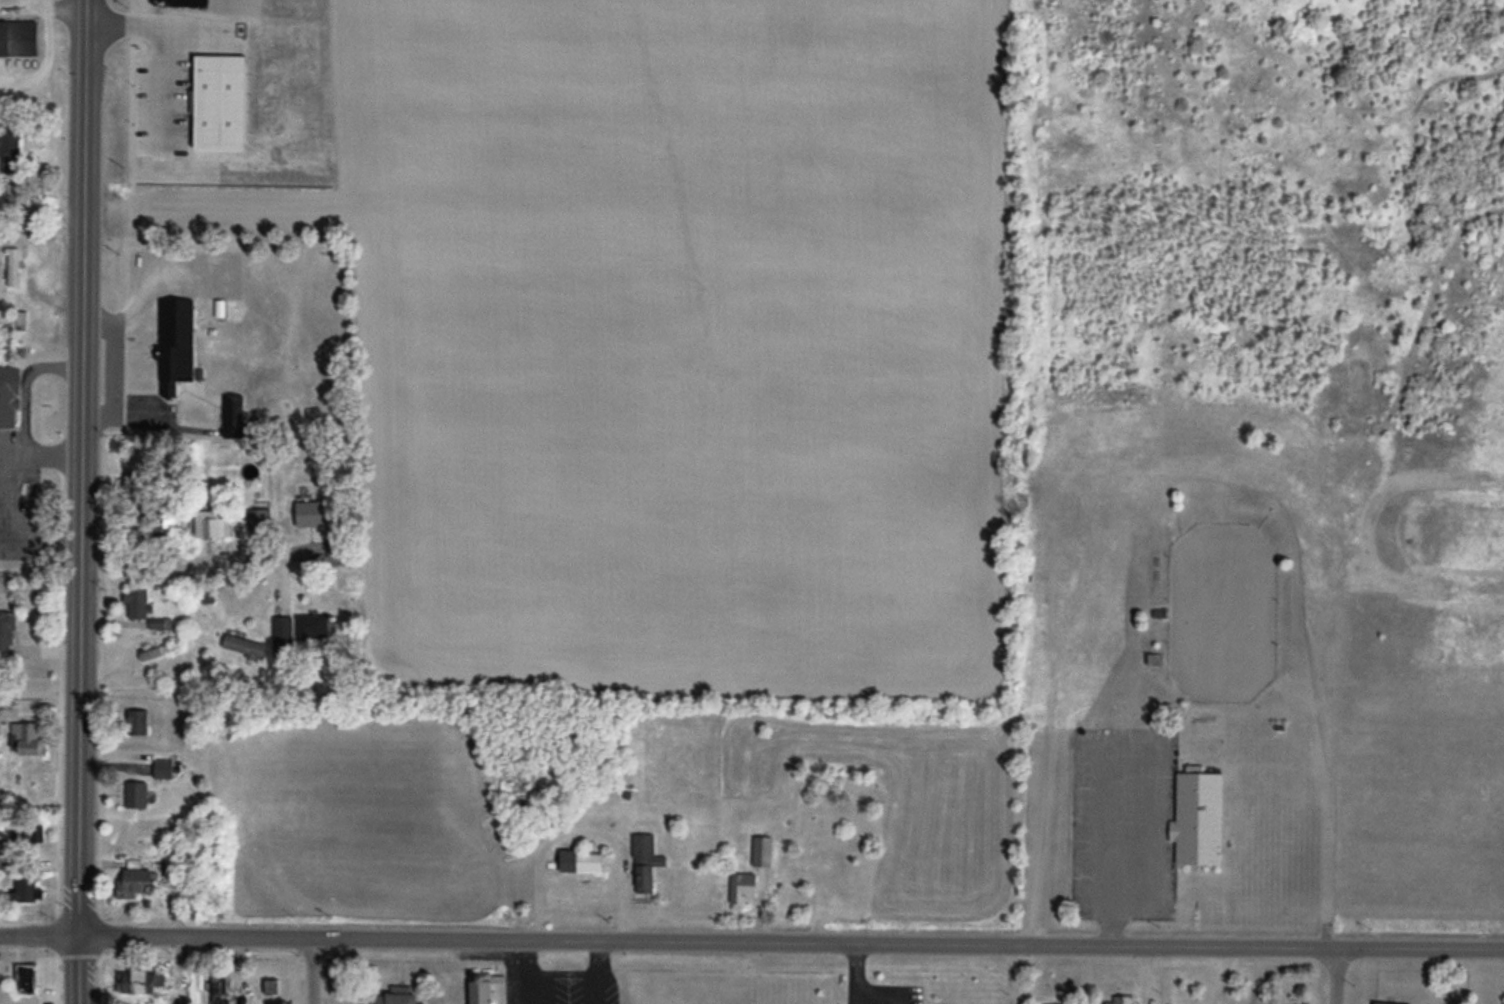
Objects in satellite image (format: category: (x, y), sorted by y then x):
building: (19, 39)
building: (11, 147)
building: (13, 266)
building: (18, 319)
building: (182, 350)
road: (85, 468)
building: (129, 487)
building: (310, 513)
building: (259, 521)
building: (213, 526)
building: (207, 594)
building: (142, 607)
building: (312, 625)
building: (282, 626)
building: (7, 636)
building: (247, 648)
building: (161, 650)
building: (2, 714)
building: (143, 722)
building: (30, 739)
building: (164, 768)
building: (532, 781)
building: (138, 795)
building: (1199, 817)
road: (589, 820)
building: (22, 836)
building: (762, 851)
building: (582, 860)
building: (646, 862)
building: (138, 882)
building: (743, 888)
building: (24, 891)
road: (40, 936)
road: (792, 941)
road: (81, 970)
road: (312, 971)
road: (1338, 975)
building: (26, 978)
building: (141, 981)
building: (485, 986)
building: (218, 988)
building: (396, 996)
building: (1132, 997)
building: (1391, 1002)

